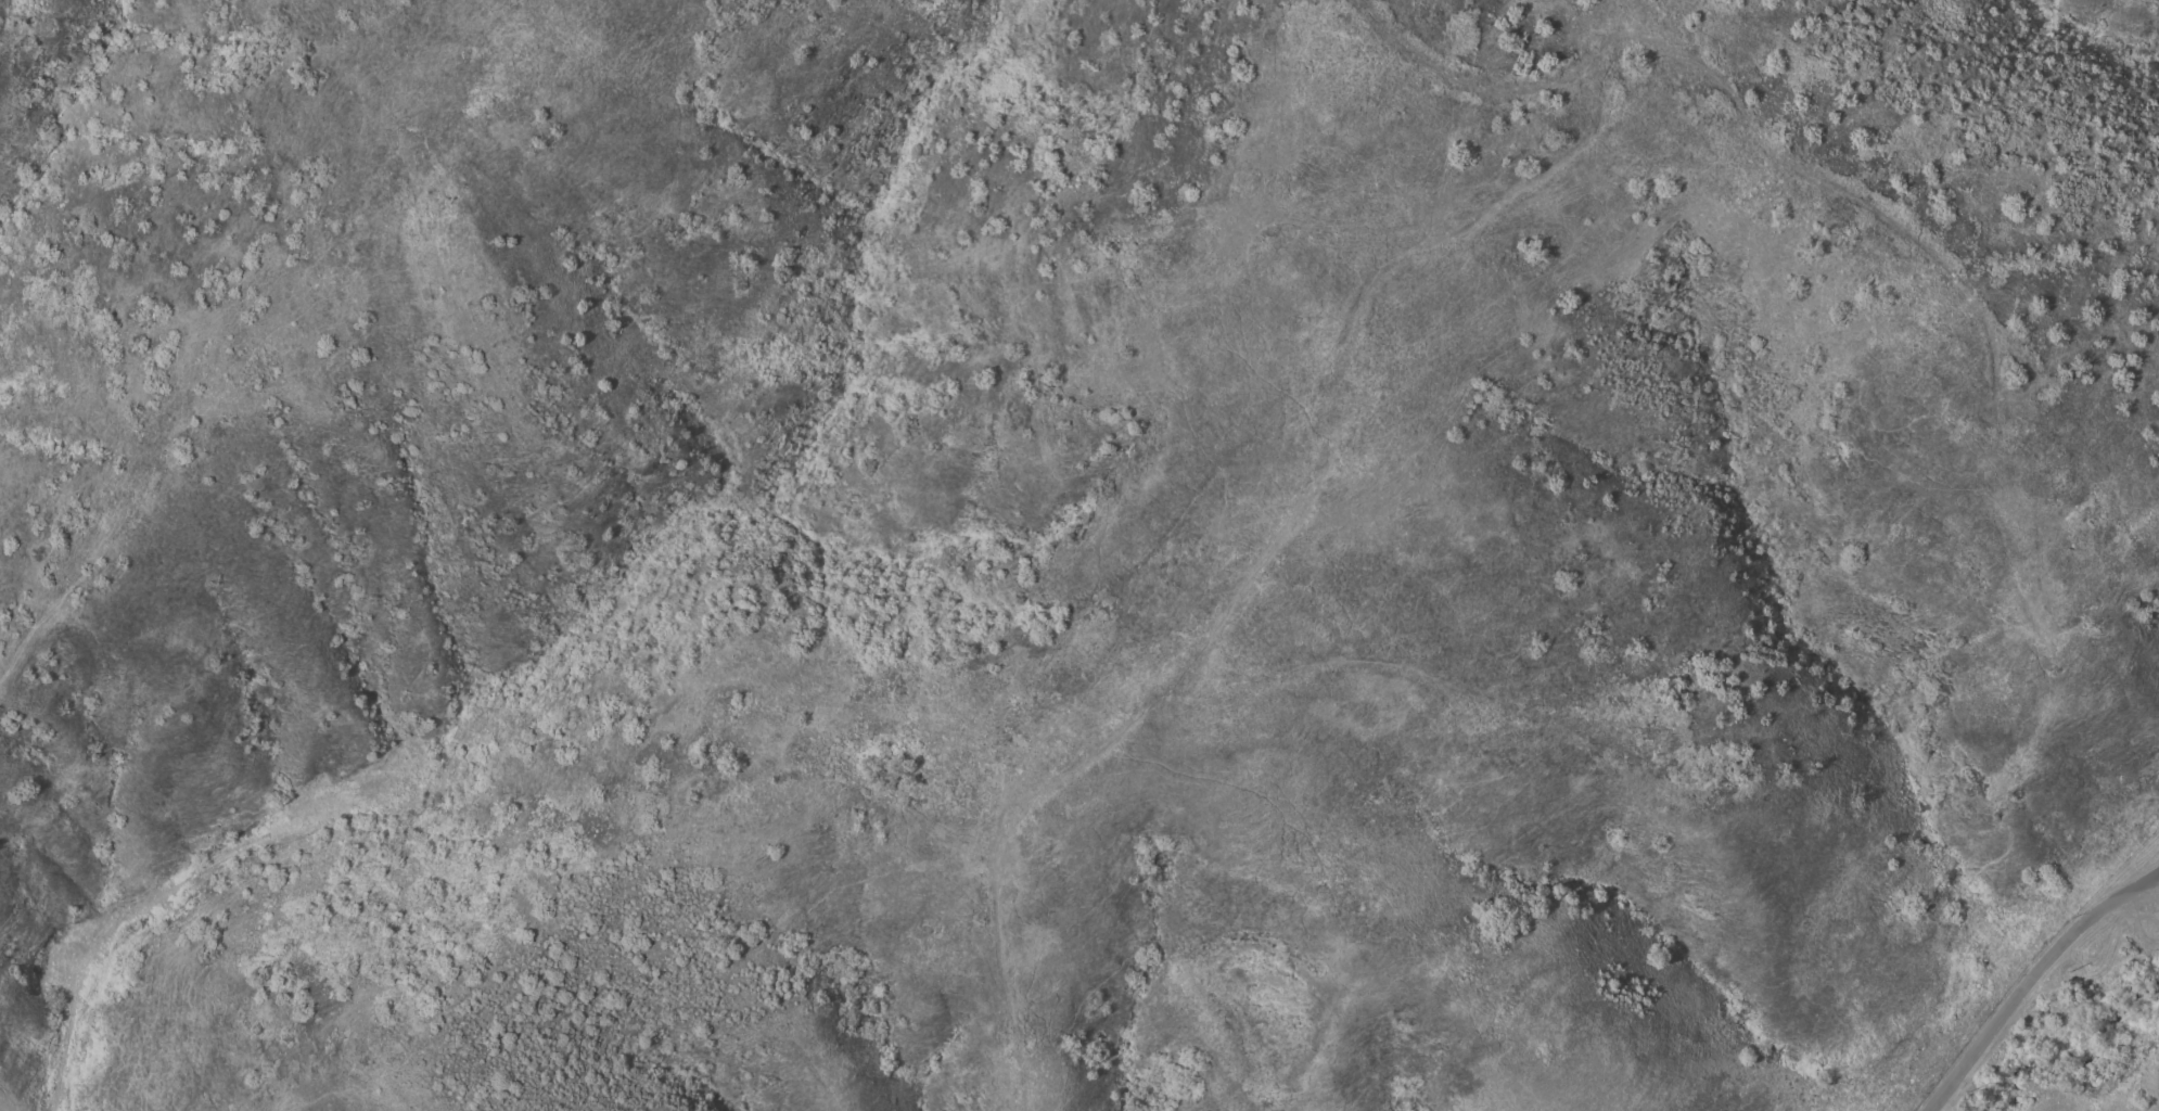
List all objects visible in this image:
road: (1325, 452)
road: (2135, 902)
road: (2033, 981)

